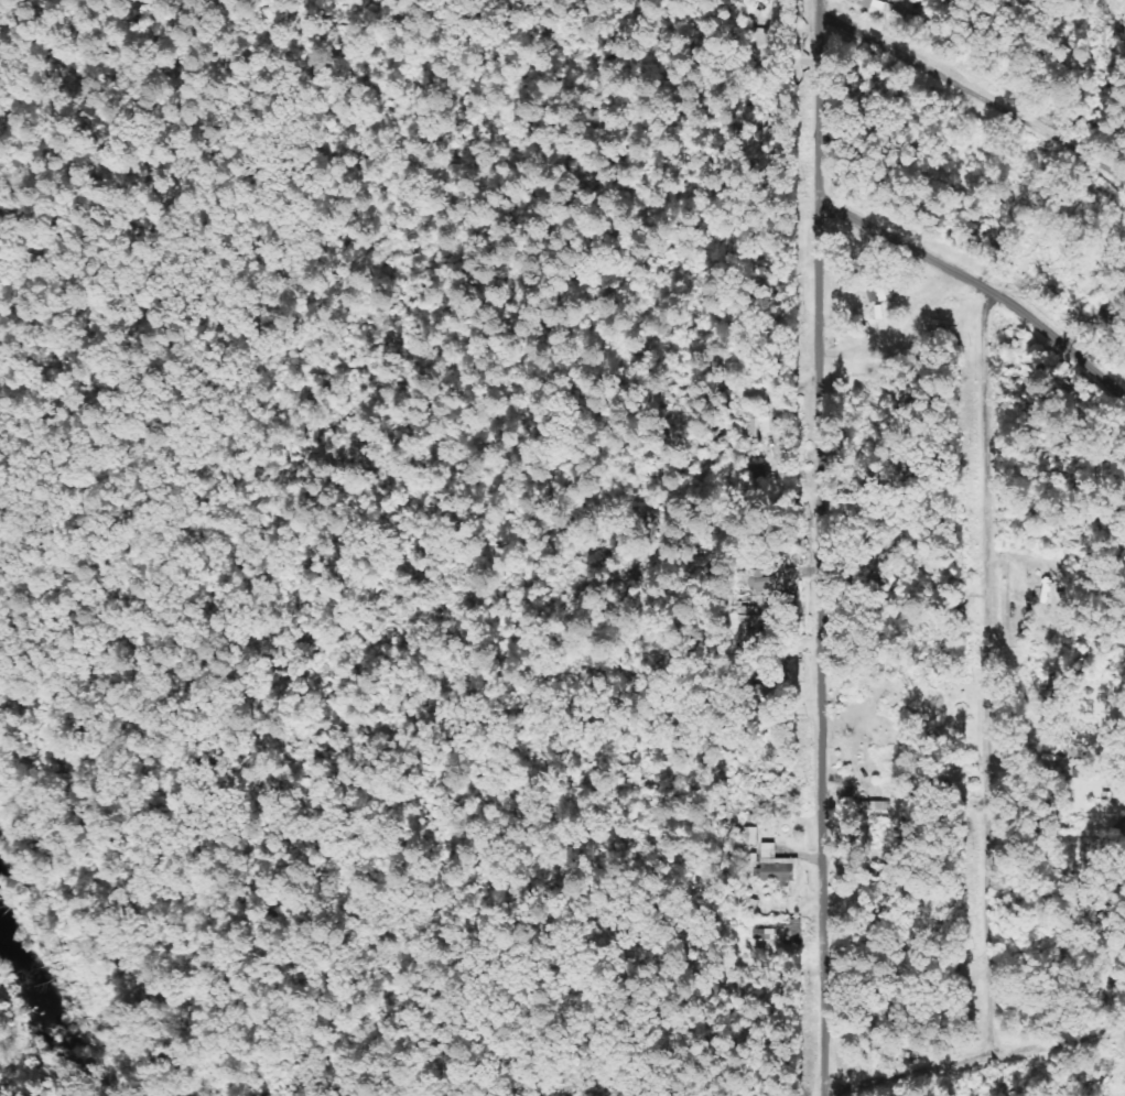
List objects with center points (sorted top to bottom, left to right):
building: (876, 7)
road: (970, 95)
road: (976, 285)
road: (815, 547)
road: (988, 671)
building: (776, 865)
building: (785, 933)
road: (972, 1055)

